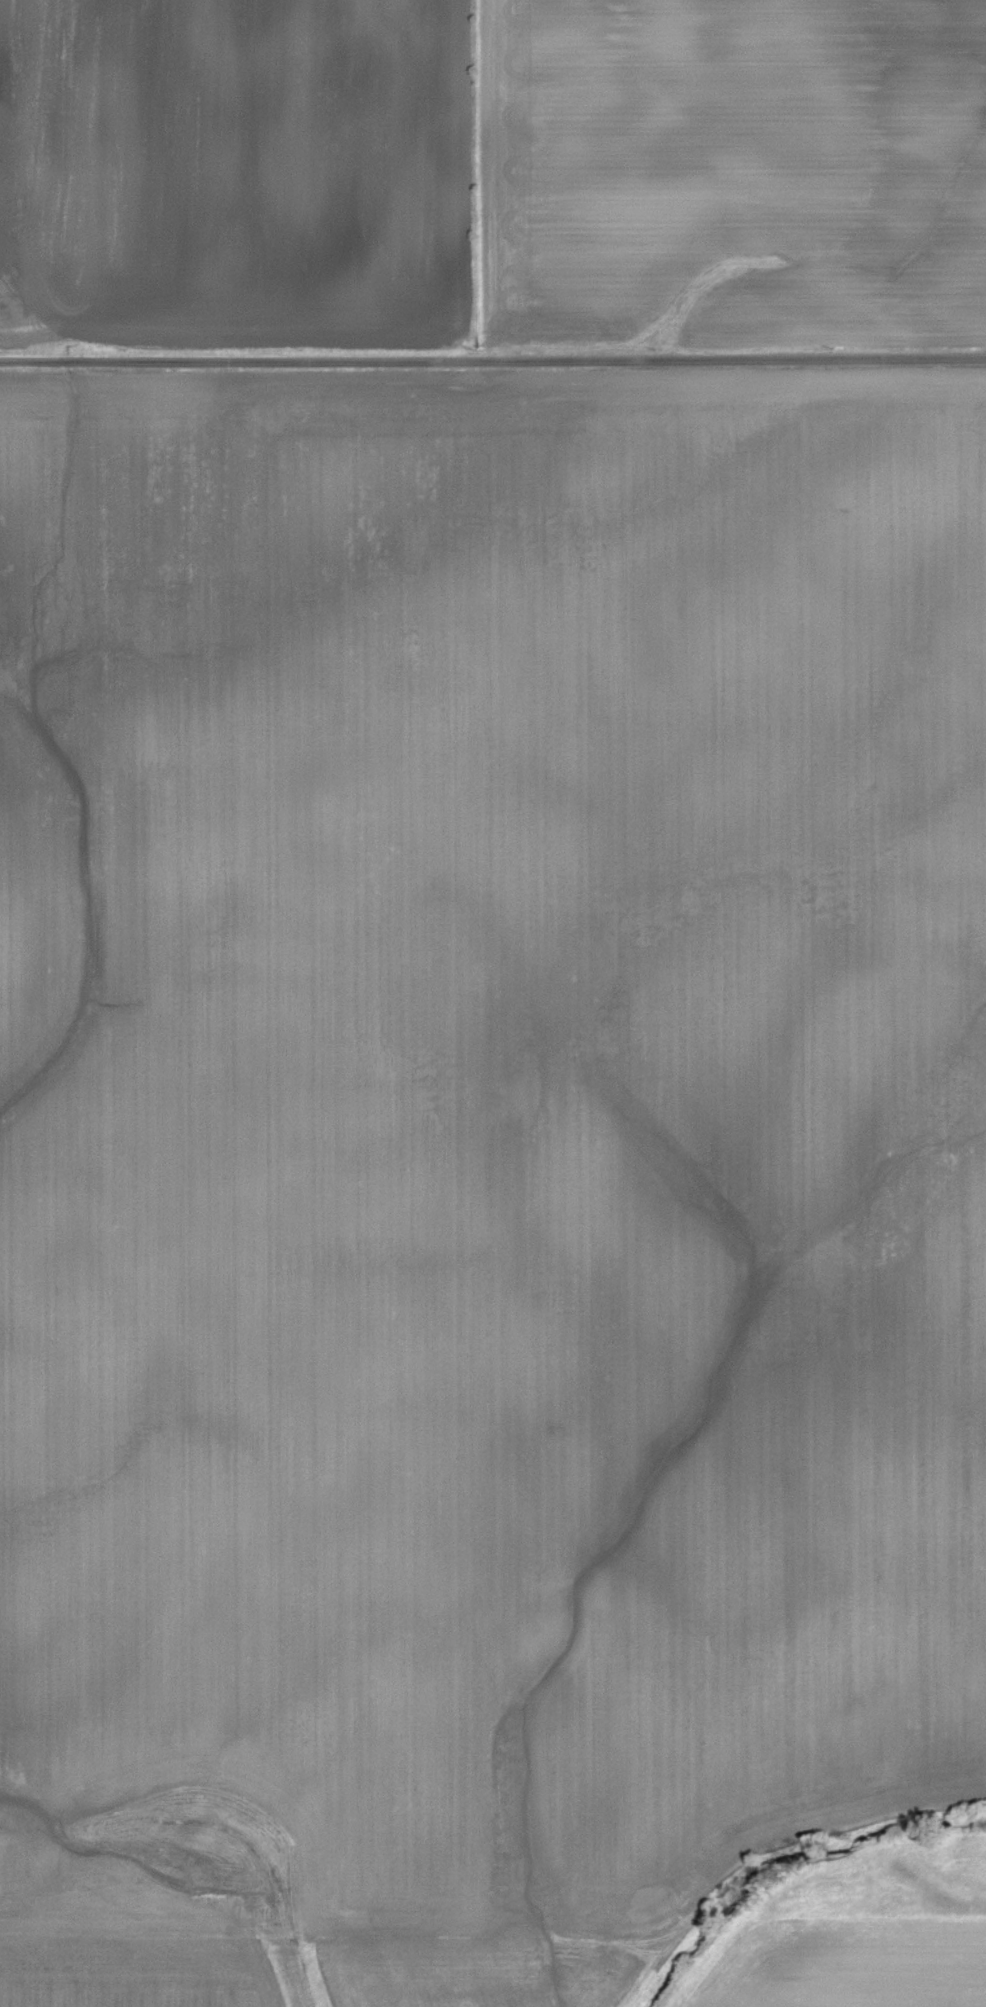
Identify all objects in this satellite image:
road: (493, 358)

